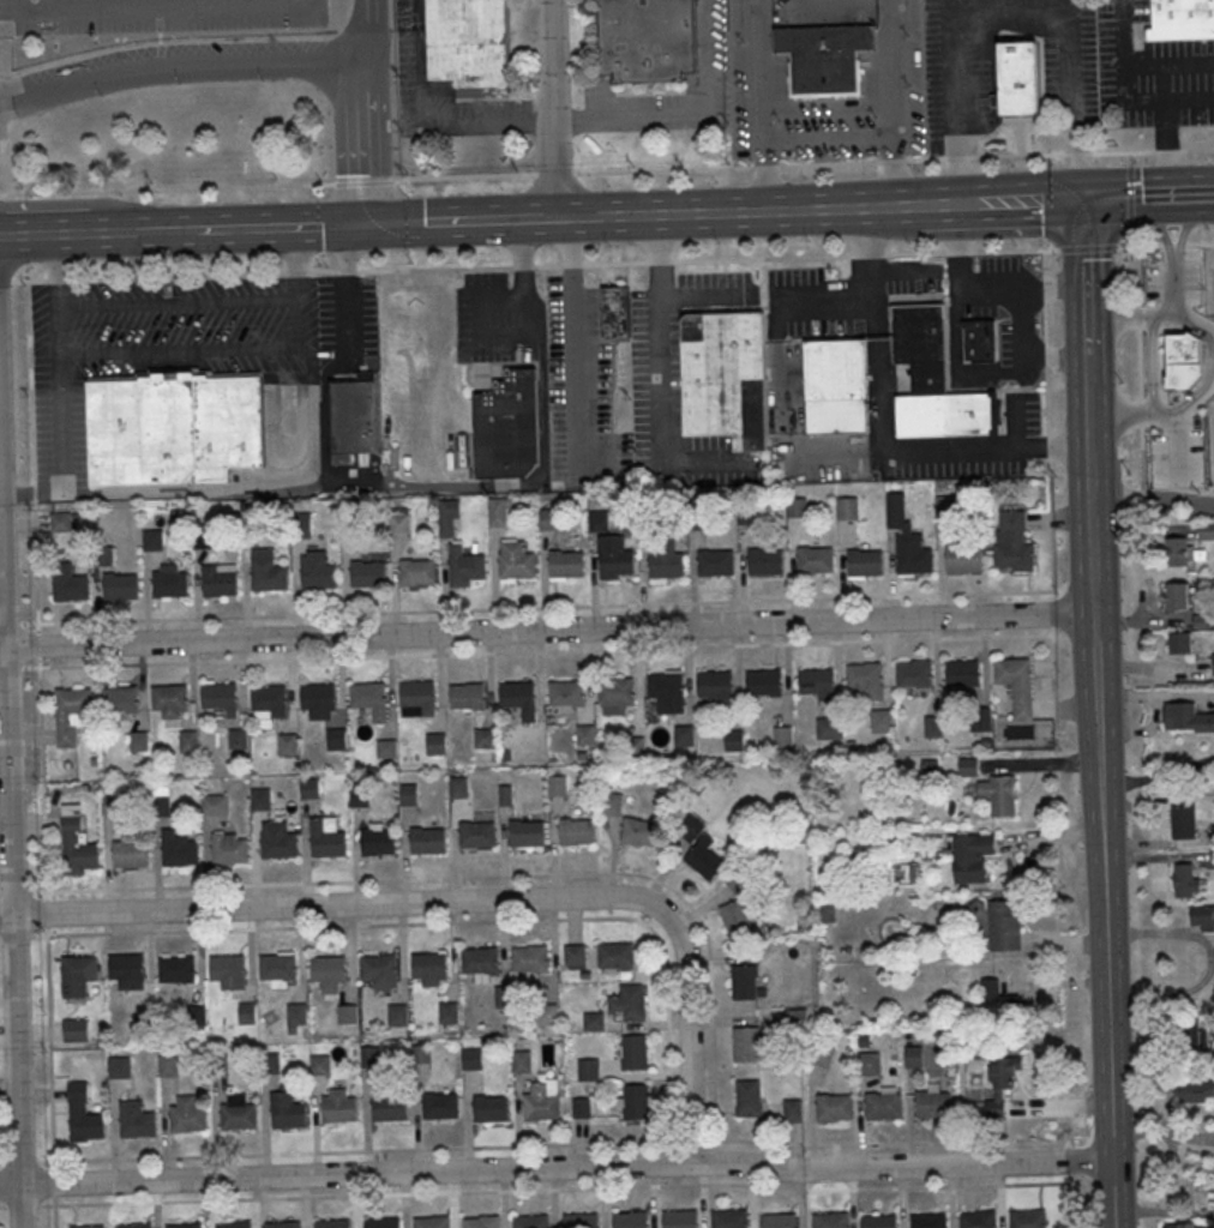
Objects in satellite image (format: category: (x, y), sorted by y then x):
road: (164, 7)
road: (1014, 18)
building: (1183, 19)
building: (648, 40)
building: (469, 42)
building: (825, 56)
road: (180, 58)
road: (1142, 62)
parking lot: (962, 73)
parking lot: (1149, 73)
building: (1018, 79)
road: (1123, 91)
road: (1165, 104)
road: (554, 108)
road: (686, 110)
road: (366, 112)
road: (433, 120)
road: (829, 133)
road: (606, 175)
road: (1148, 197)
traffic signals: (1082, 199)
road: (1029, 200)
road: (948, 204)
road: (762, 210)
road: (581, 217)
road: (462, 221)
traffic signals: (368, 224)
road: (282, 225)
road: (1159, 225)
road: (1190, 225)
road: (167, 230)
road: (43, 233)
road: (113, 233)
road: (535, 265)
road: (897, 275)
road: (13, 282)
road: (1176, 284)
road: (1084, 289)
road: (980, 291)
road: (705, 293)
road: (348, 296)
road: (828, 306)
building: (615, 312)
road: (1164, 313)
road: (1118, 315)
parking lot: (499, 320)
parking lot: (348, 321)
road: (1195, 324)
road: (479, 326)
road: (540, 341)
building: (980, 342)
road: (572, 344)
parking lot: (157, 347)
road: (180, 354)
road: (1022, 356)
road: (1153, 363)
road: (958, 367)
building: (726, 378)
road: (661, 379)
building: (936, 383)
building: (837, 387)
parking lot: (582, 392)
road: (1195, 397)
road: (1087, 414)
road: (1131, 414)
building: (353, 419)
building: (174, 427)
building: (507, 427)
road: (1017, 429)
road: (883, 432)
road: (1178, 447)
road: (1152, 502)
building: (946, 507)
building: (651, 508)
building: (798, 508)
building: (848, 508)
building: (747, 514)
building: (500, 516)
building: (449, 518)
building: (548, 519)
building: (699, 519)
building: (60, 520)
building: (599, 522)
building: (401, 524)
building: (302, 528)
road: (1090, 530)
building: (1206, 531)
building: (152, 540)
building: (1015, 543)
building: (1177, 553)
building: (103, 555)
building: (914, 555)
building: (615, 556)
building: (666, 560)
building: (816, 560)
building: (964, 560)
building: (517, 561)
building: (765, 561)
building: (716, 562)
building: (865, 562)
building: (566, 564)
building: (465, 566)
building: (268, 571)
building: (419, 572)
building: (368, 574)
building: (318, 576)
building: (220, 583)
building: (70, 585)
building: (170, 585)
building: (120, 588)
building: (1178, 597)
road: (38, 622)
road: (18, 624)
road: (548, 627)
road: (1094, 628)
building: (1180, 644)
road: (2, 645)
building: (1213, 661)
building: (963, 673)
building: (915, 674)
building: (865, 676)
building: (765, 682)
building: (716, 684)
building: (819, 684)
building: (1018, 685)
building: (617, 692)
building: (668, 692)
building: (417, 693)
building: (567, 693)
building: (517, 694)
building: (218, 696)
building: (368, 696)
building: (468, 697)
building: (319, 698)
building: (170, 699)
building: (269, 699)
building: (120, 700)
building: (73, 702)
road: (1096, 715)
building: (1188, 718)
building: (981, 720)
building: (883, 722)
building: (933, 727)
building: (830, 729)
building: (587, 736)
building: (684, 736)
building: (783, 738)
building: (239, 740)
building: (337, 740)
building: (485, 740)
building: (735, 741)
building: (190, 742)
building: (139, 744)
building: (435, 744)
building: (289, 746)
building: (386, 747)
building: (635, 747)
road: (41, 759)
road: (1158, 776)
building: (558, 787)
building: (459, 788)
building: (309, 789)
building: (999, 795)
building: (411, 796)
building: (360, 797)
building: (260, 800)
building: (612, 802)
building: (110, 806)
building: (214, 806)
building: (160, 807)
building: (1184, 823)
building: (577, 832)
building: (639, 832)
building: (527, 833)
building: (477, 835)
road: (10, 839)
building: (427, 841)
building: (378, 843)
building: (327, 844)
building: (280, 845)
building: (78, 848)
building: (701, 849)
building: (229, 850)
building: (180, 853)
building: (130, 855)
building: (973, 857)
building: (1184, 880)
road: (303, 883)
road: (22, 893)
road: (277, 907)
building: (739, 911)
building: (1201, 917)
building: (1004, 925)
road: (221, 929)
road: (1062, 931)
road: (23, 935)
building: (615, 955)
building: (575, 956)
building: (530, 959)
building: (480, 962)
building: (429, 967)
building: (126, 968)
building: (277, 968)
building: (228, 969)
building: (379, 969)
building: (329, 970)
building: (176, 971)
road: (1107, 971)
building: (78, 976)
road: (686, 979)
building: (745, 982)
building: (994, 995)
building: (629, 1003)
building: (247, 1012)
building: (447, 1012)
building: (296, 1013)
building: (347, 1013)
building: (397, 1015)
building: (547, 1015)
building: (76, 1030)
building: (746, 1043)
building: (635, 1052)
building: (369, 1057)
building: (913, 1057)
building: (471, 1058)
building: (867, 1058)
building: (521, 1061)
building: (119, 1066)
building: (168, 1066)
building: (588, 1070)
building: (1000, 1083)
building: (1195, 1089)
building: (749, 1097)
building: (633, 1102)
building: (440, 1107)
building: (581, 1107)
building: (885, 1107)
building: (934, 1107)
building: (542, 1108)
building: (338, 1109)
building: (390, 1109)
building: (793, 1109)
building: (836, 1109)
building: (491, 1110)
building: (288, 1112)
building: (188, 1116)
building: (239, 1119)
building: (137, 1121)
building: (88, 1128)
road: (497, 1146)
road: (25, 1161)
road: (565, 1168)
road: (53, 1182)
road: (10, 1185)
road: (535, 1188)
road: (1112, 1194)
road: (54, 1200)
road: (26, 1205)
building: (680, 1218)
building: (729, 1218)
building: (581, 1220)
building: (630, 1220)
building: (777, 1220)
building: (830, 1220)
building: (979, 1220)
building: (1028, 1220)
building: (531, 1221)
building: (878, 1221)
building: (927, 1221)
building: (381, 1222)
building: (431, 1222)
building: (481, 1222)
building: (331, 1223)
building: (233, 1224)
building: (282, 1224)
building: (88, 1226)
building: (134, 1226)
building: (184, 1226)
building: (1180, 1226)

